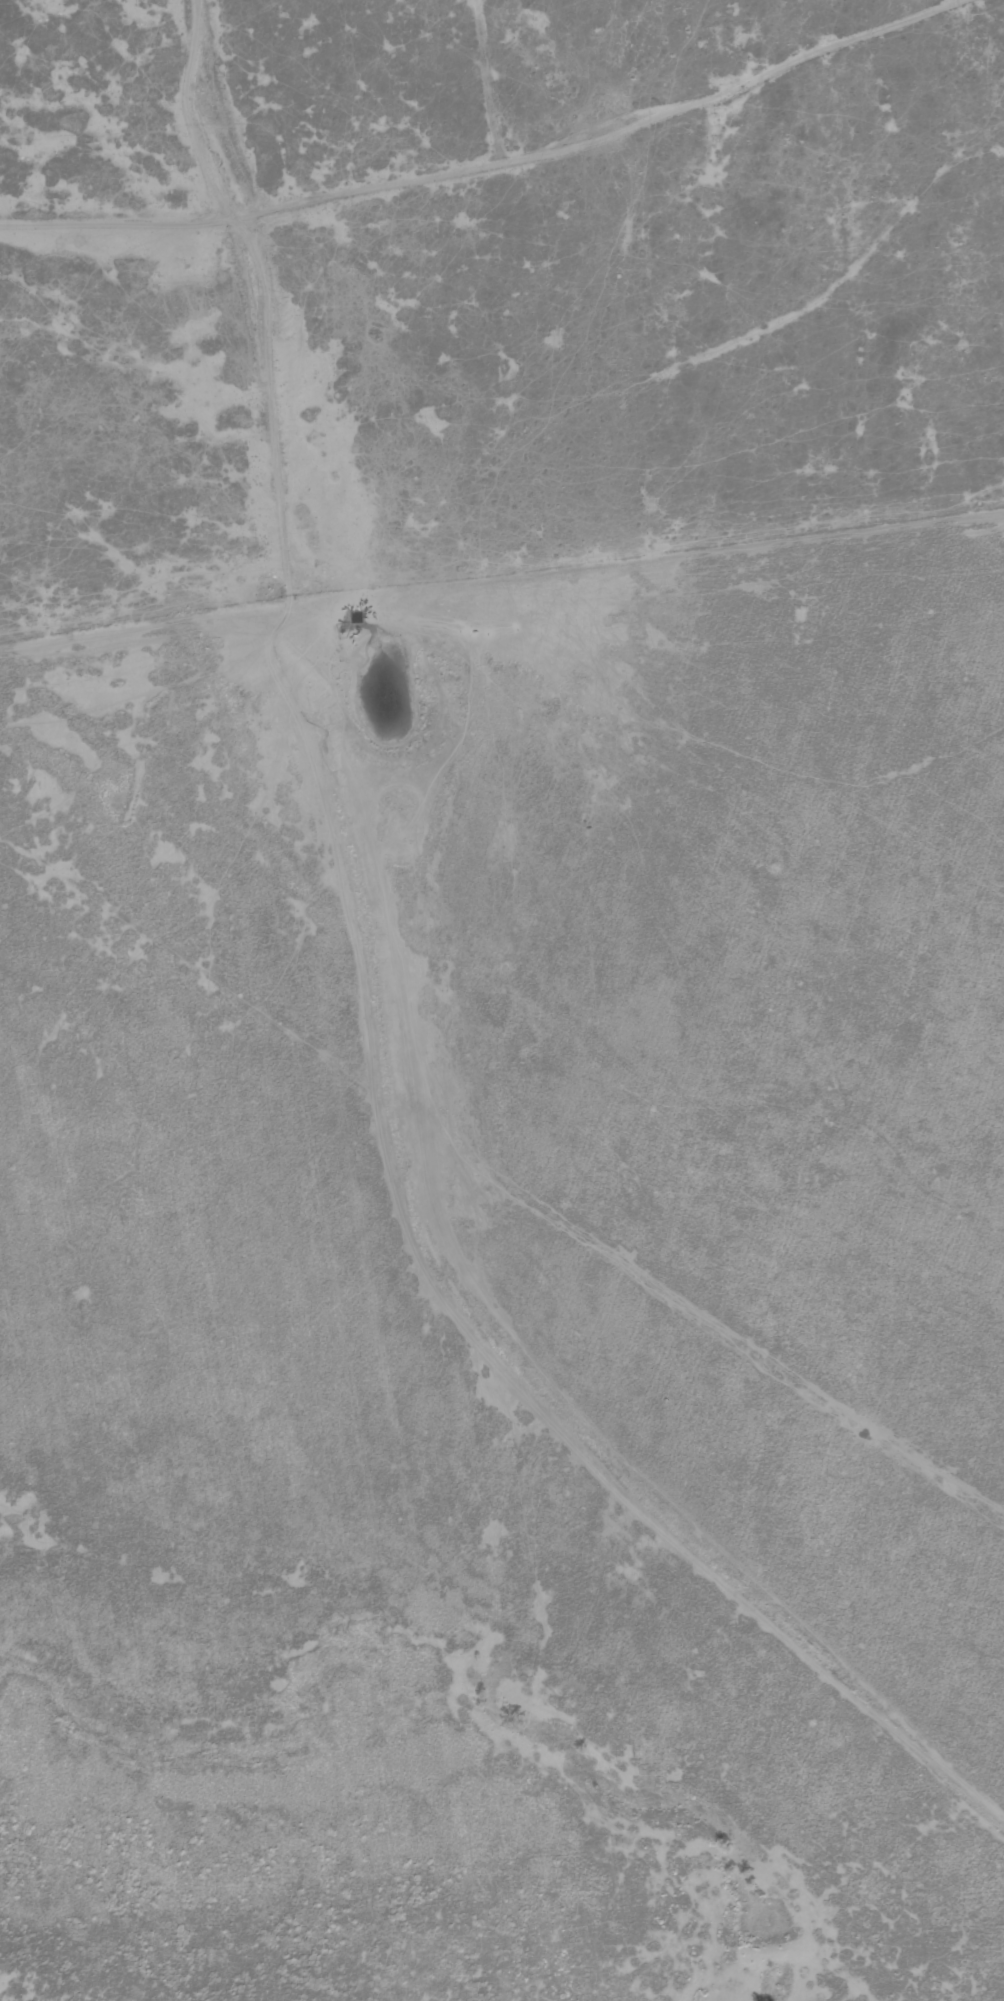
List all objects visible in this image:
road: (489, 78)
road: (185, 111)
road: (486, 160)
building: (356, 616)
storage tank: (356, 616)
road: (399, 1137)

